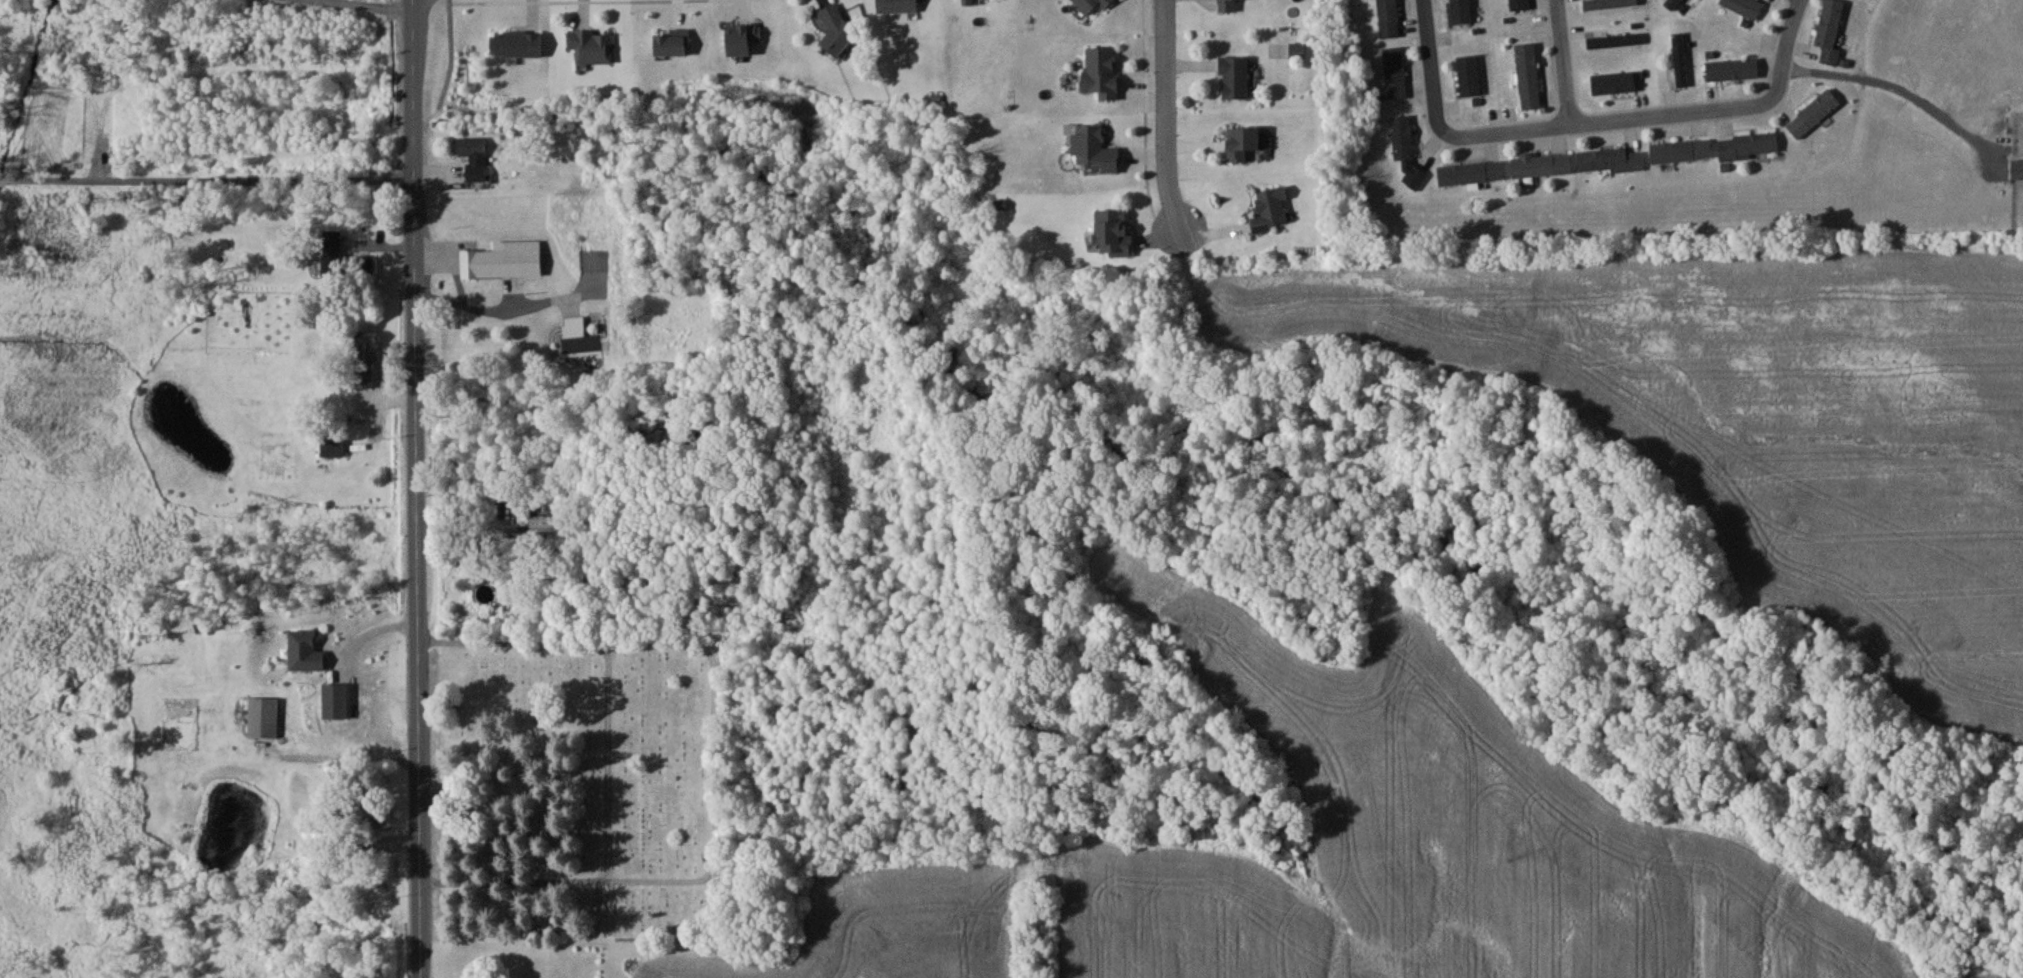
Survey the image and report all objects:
building: (968, 1)
building: (1607, 3)
road: (379, 4)
building: (1092, 4)
building: (1672, 4)
building: (897, 5)
building: (1227, 5)
building: (1743, 6)
building: (1388, 18)
building: (837, 29)
building: (1829, 30)
building: (743, 38)
building: (1613, 40)
building: (671, 44)
building: (592, 46)
road: (1783, 50)
road: (451, 58)
building: (1679, 59)
road: (1429, 60)
road: (1562, 62)
building: (1732, 69)
building: (1102, 71)
building: (1395, 72)
building: (1528, 75)
building: (1234, 77)
building: (1618, 81)
road: (1907, 93)
road: (1147, 105)
building: (1813, 113)
road: (1163, 115)
road: (1599, 120)
building: (1243, 142)
building: (1747, 144)
building: (1095, 148)
building: (1405, 149)
building: (1680, 150)
building: (472, 155)
building: (1609, 160)
building: (1542, 164)
building: (2016, 169)
building: (1470, 173)
road: (206, 177)
building: (1271, 208)
building: (1114, 232)
building: (331, 240)
building: (503, 259)
building: (346, 265)
road: (466, 307)
building: (574, 326)
building: (367, 346)
building: (359, 410)
building: (331, 447)
road: (415, 489)
building: (502, 493)
building: (543, 525)
building: (306, 651)
building: (263, 717)
road: (713, 756)
road: (607, 760)
park: (582, 782)
building: (368, 813)

